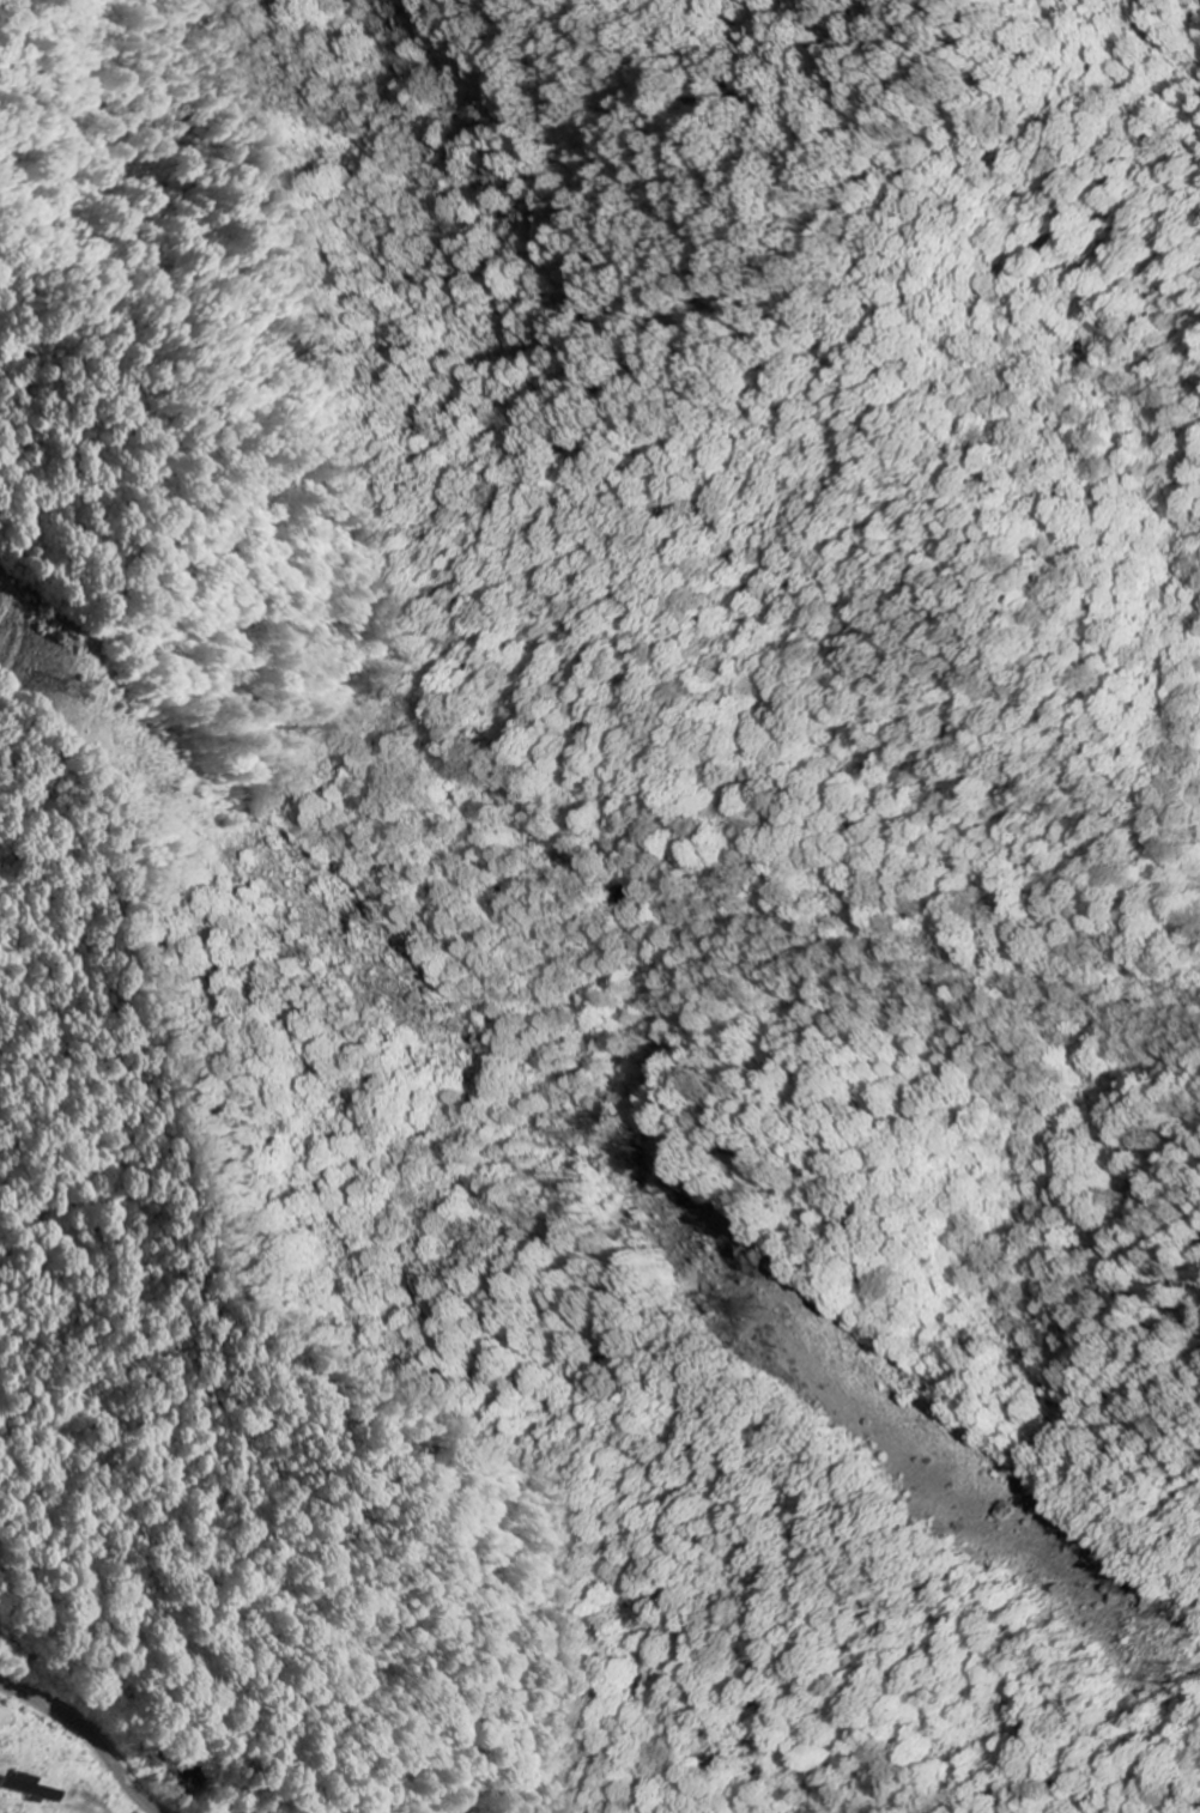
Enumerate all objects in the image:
road: (95, 1732)

